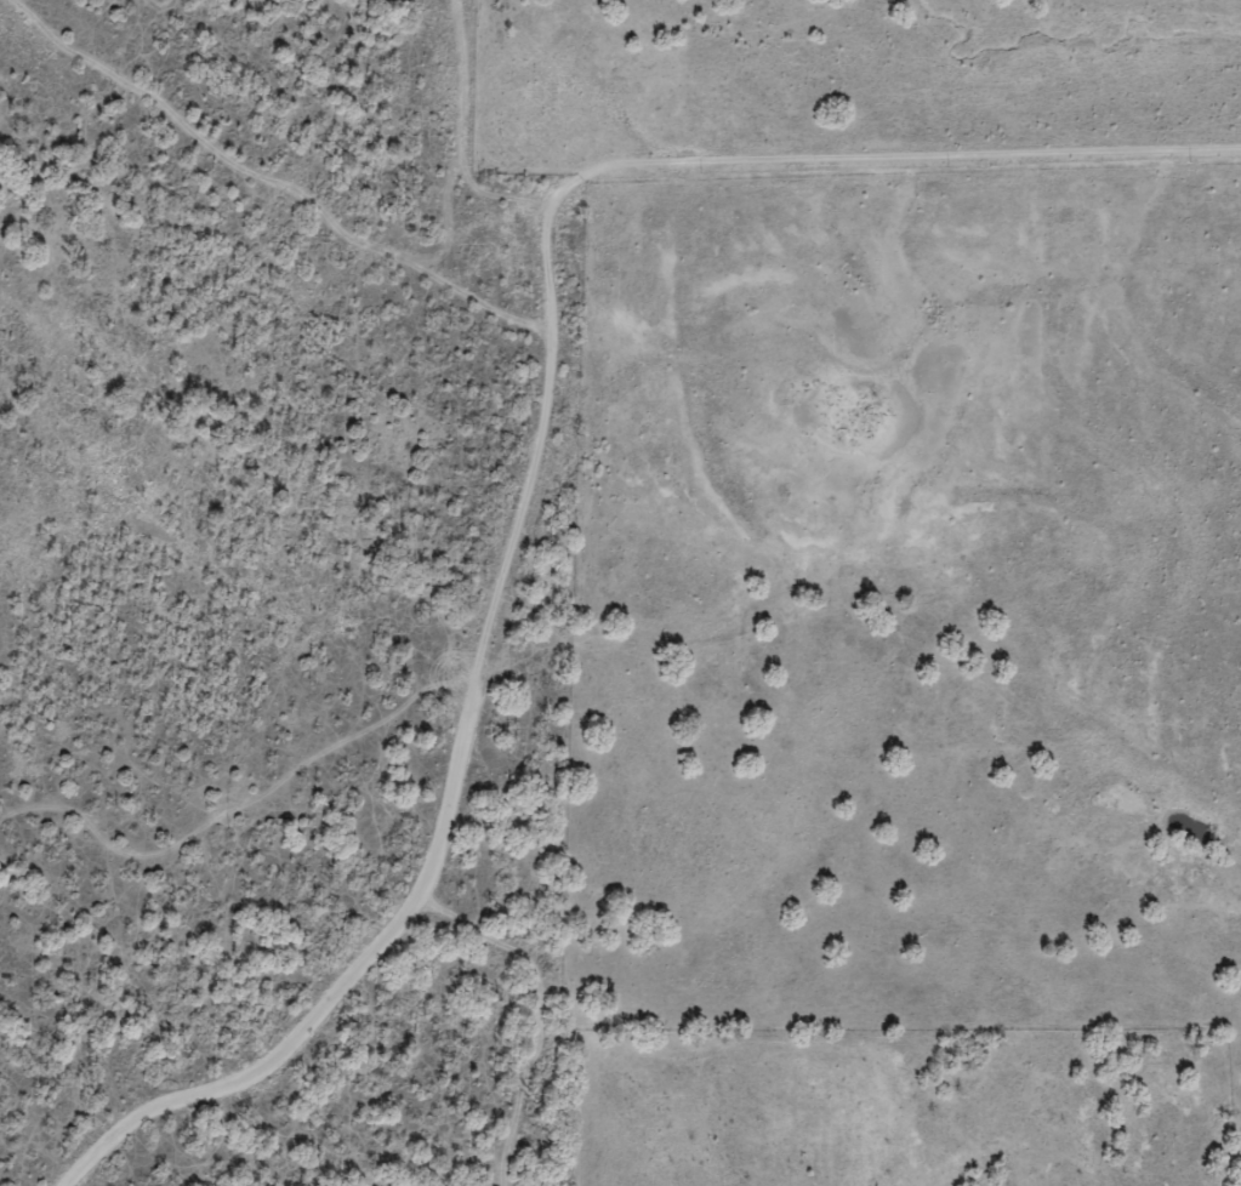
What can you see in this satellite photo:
road: (526, 427)

